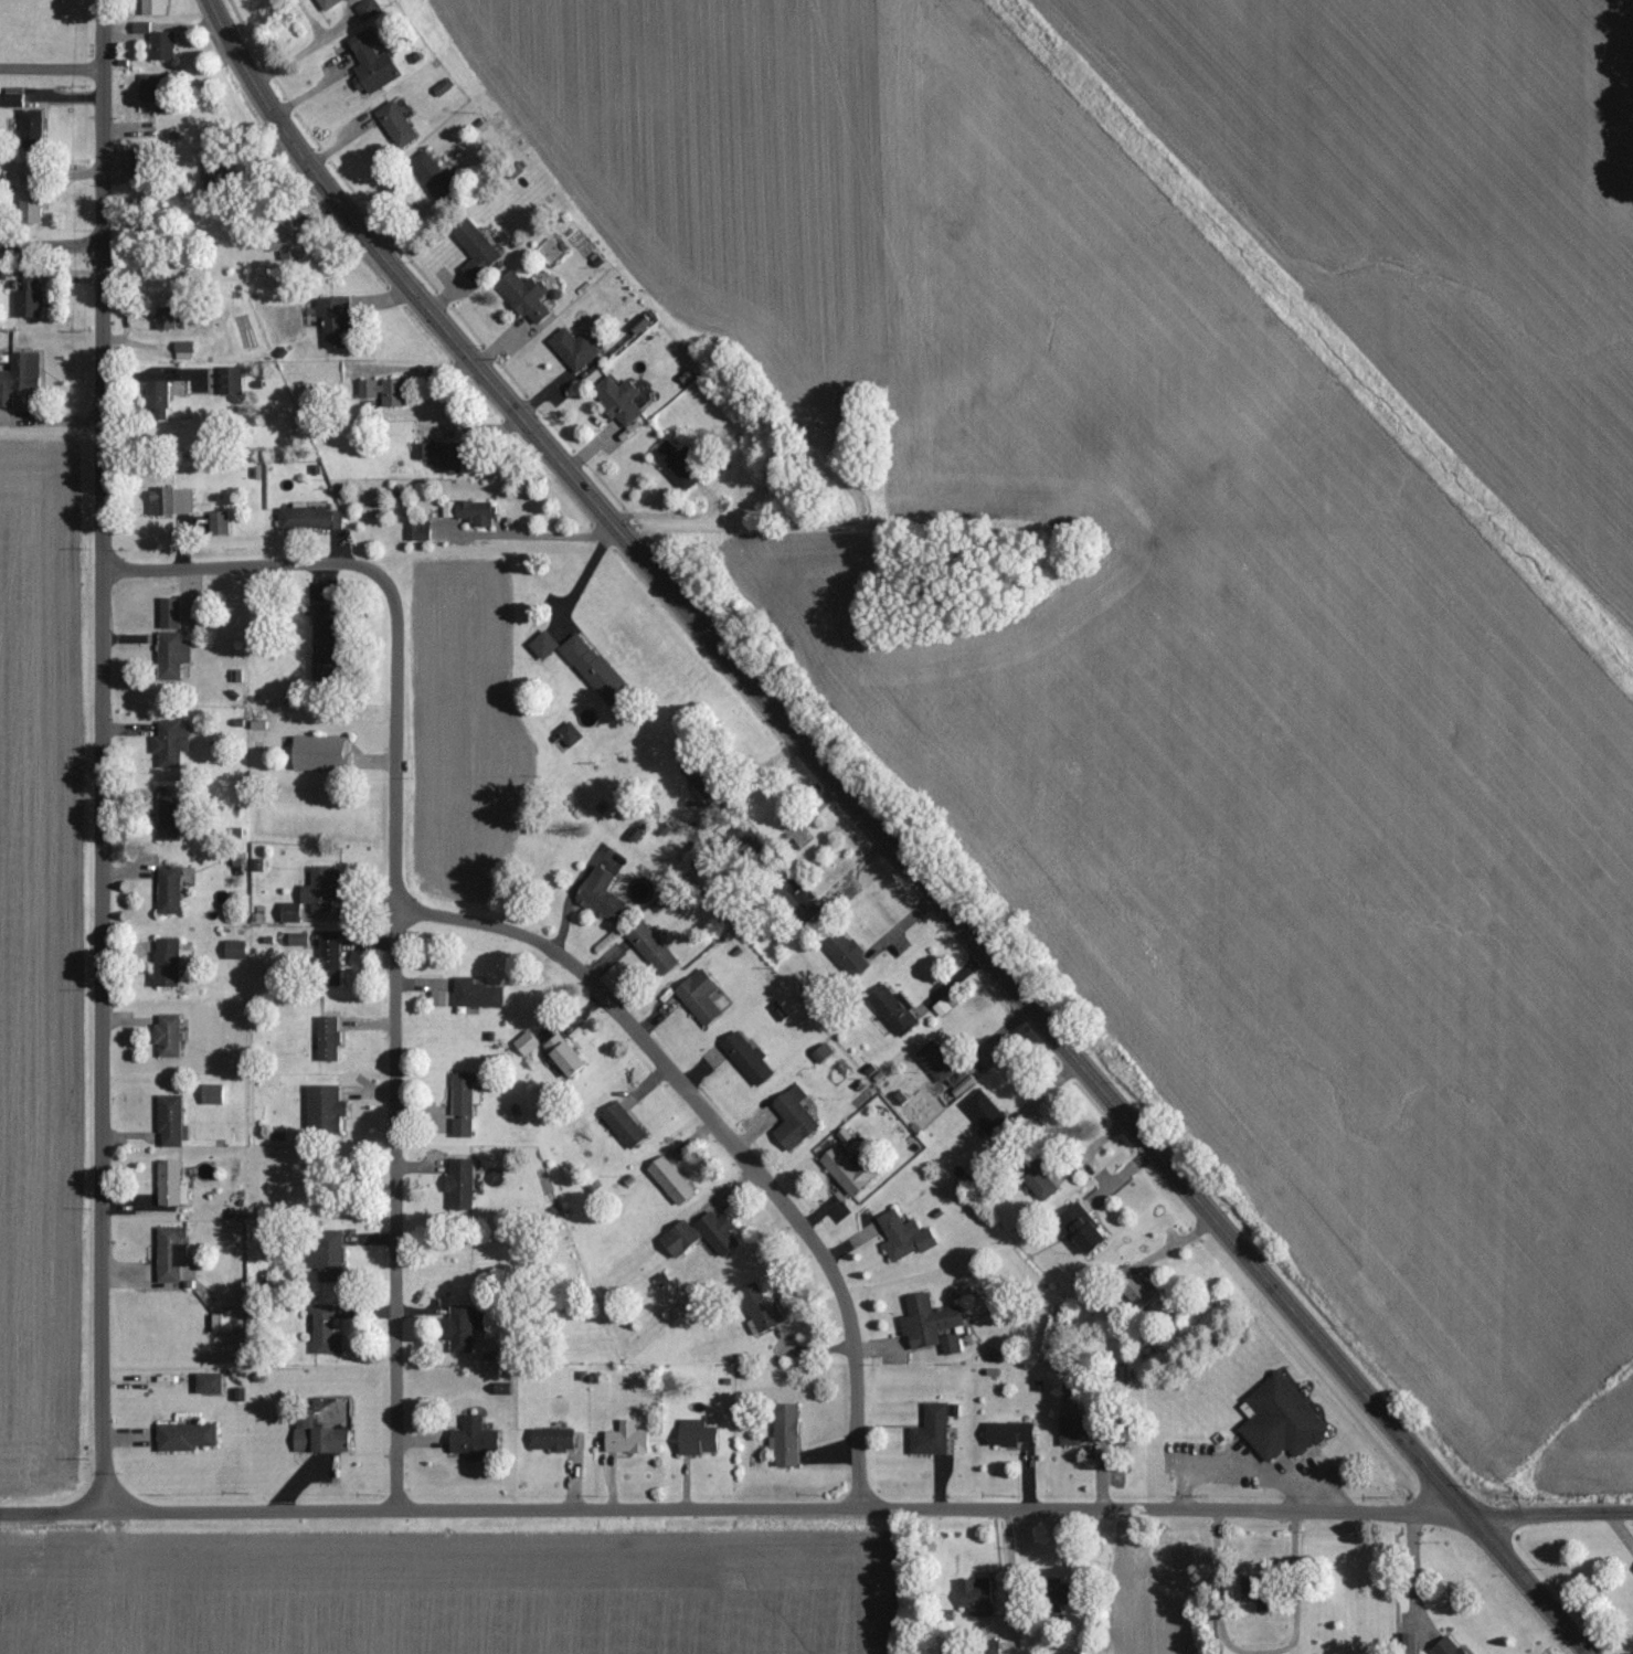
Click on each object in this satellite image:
building: (329, 3)
building: (157, 8)
building: (369, 9)
building: (165, 46)
building: (373, 64)
road: (52, 70)
building: (152, 87)
building: (397, 125)
building: (33, 128)
building: (146, 168)
building: (433, 176)
building: (33, 194)
building: (288, 247)
road: (49, 248)
building: (478, 250)
building: (32, 277)
building: (529, 295)
building: (30, 304)
building: (168, 318)
building: (338, 320)
building: (575, 348)
building: (185, 350)
building: (21, 377)
building: (385, 391)
building: (621, 400)
building: (443, 455)
building: (676, 466)
building: (172, 501)
building: (473, 512)
building: (311, 519)
road: (858, 519)
building: (221, 522)
building: (172, 614)
building: (328, 640)
building: (545, 645)
building: (173, 655)
building: (596, 668)
building: (571, 734)
building: (173, 742)
building: (322, 753)
road: (103, 754)
building: (704, 780)
building: (171, 817)
road: (881, 838)
building: (322, 888)
building: (171, 890)
building: (603, 895)
road: (392, 905)
building: (294, 914)
building: (654, 947)
building: (237, 950)
building: (331, 952)
building: (846, 952)
building: (171, 963)
building: (479, 994)
building: (702, 997)
building: (441, 999)
building: (895, 1010)
building: (170, 1036)
building: (330, 1039)
building: (528, 1043)
building: (568, 1056)
building: (749, 1059)
building: (937, 1061)
building: (215, 1094)
building: (466, 1104)
building: (328, 1110)
building: (992, 1117)
building: (796, 1118)
building: (626, 1125)
road: (724, 1132)
building: (851, 1170)
building: (674, 1180)
building: (1040, 1181)
building: (463, 1185)
building: (720, 1233)
building: (1089, 1233)
building: (906, 1237)
building: (682, 1239)
building: (173, 1253)
building: (330, 1255)
building: (1143, 1293)
building: (761, 1310)
building: (931, 1322)
building: (224, 1324)
building: (463, 1328)
building: (328, 1332)
building: (953, 1345)
building: (211, 1383)
building: (1284, 1421)
building: (1082, 1430)
building: (934, 1432)
building: (1012, 1434)
building: (788, 1435)
building: (188, 1438)
building: (698, 1438)
building: (322, 1439)
building: (476, 1440)
building: (555, 1440)
building: (628, 1440)
road: (733, 1513)
road: (1550, 1513)
road: (1011, 1582)
building: (1070, 1593)
building: (1260, 1593)
building: (978, 1597)
building: (1450, 1647)

